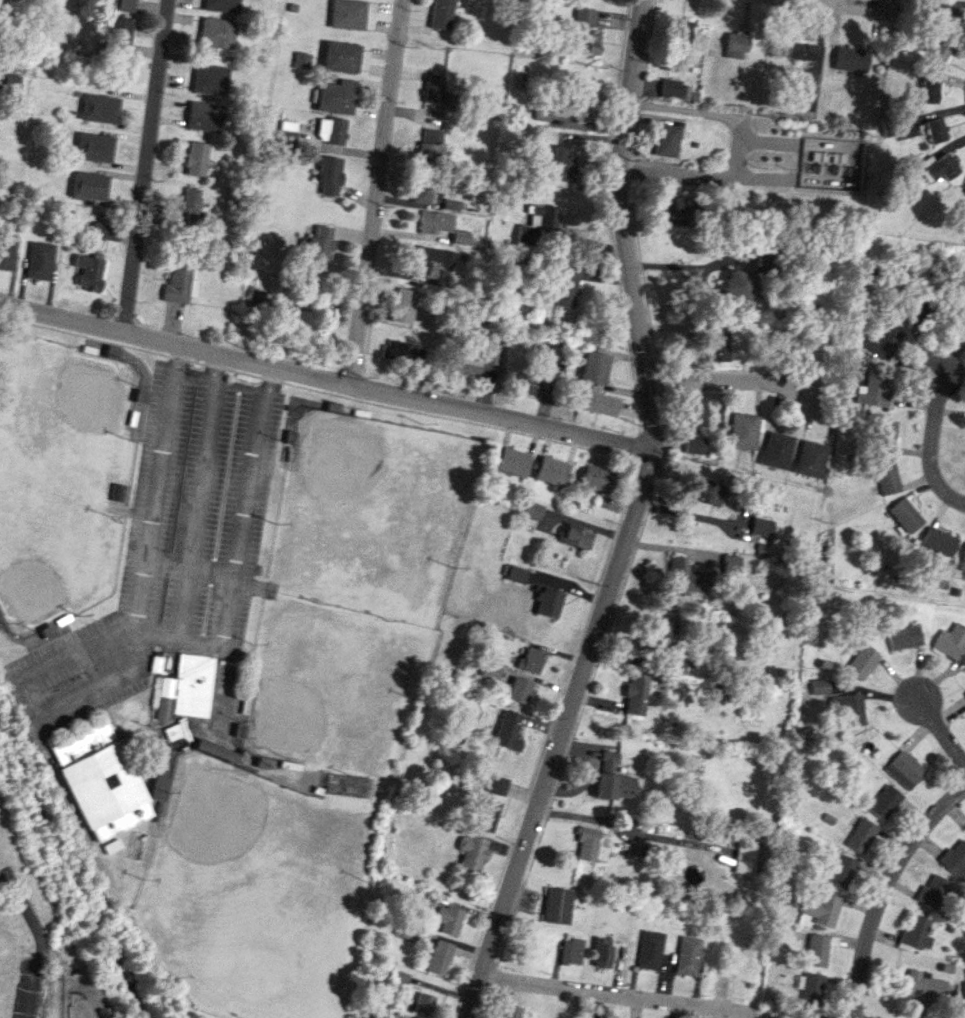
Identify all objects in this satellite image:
building: (1, 5)
building: (127, 5)
building: (219, 5)
road: (846, 5)
building: (345, 14)
building: (439, 14)
building: (950, 14)
building: (681, 28)
building: (586, 31)
building: (120, 33)
building: (213, 34)
building: (805, 50)
building: (936, 54)
building: (339, 56)
building: (851, 58)
building: (300, 60)
building: (208, 79)
building: (675, 88)
building: (434, 90)
building: (930, 91)
building: (335, 96)
building: (806, 102)
building: (98, 108)
building: (582, 108)
building: (203, 116)
building: (331, 130)
building: (935, 130)
building: (286, 132)
building: (431, 135)
building: (667, 140)
building: (93, 147)
road: (737, 148)
building: (429, 154)
building: (195, 158)
road: (144, 167)
building: (940, 167)
building: (561, 168)
building: (328, 174)
building: (88, 185)
road: (625, 189)
road: (375, 192)
building: (419, 192)
building: (964, 192)
building: (449, 204)
building: (189, 205)
building: (680, 206)
building: (433, 221)
building: (535, 224)
building: (104, 230)
building: (459, 236)
building: (317, 245)
building: (6, 250)
building: (429, 257)
building: (38, 260)
building: (87, 271)
building: (179, 282)
building: (736, 284)
building: (563, 288)
building: (403, 305)
building: (914, 313)
building: (962, 318)
building: (883, 341)
building: (716, 346)
building: (403, 351)
building: (492, 351)
road: (175, 360)
building: (466, 366)
road: (213, 367)
building: (593, 367)
road: (192, 377)
road: (268, 378)
road: (732, 378)
road: (325, 379)
road: (238, 384)
building: (525, 384)
building: (872, 388)
building: (596, 403)
building: (695, 410)
road: (934, 415)
building: (741, 431)
building: (884, 432)
building: (693, 444)
building: (775, 450)
building: (809, 458)
building: (511, 461)
building: (550, 470)
building: (886, 476)
building: (595, 478)
road: (940, 484)
building: (115, 491)
building: (705, 491)
road: (151, 502)
road: (194, 508)
building: (532, 510)
building: (904, 515)
building: (551, 522)
building: (760, 526)
building: (575, 536)
road: (238, 537)
building: (937, 543)
building: (963, 553)
building: (732, 562)
road: (187, 567)
building: (516, 573)
building: (683, 576)
building: (548, 602)
building: (663, 633)
road: (153, 634)
building: (904, 637)
building: (951, 642)
building: (530, 660)
building: (862, 661)
building: (489, 670)
building: (819, 686)
building: (184, 688)
building: (518, 689)
building: (964, 694)
building: (634, 695)
road: (571, 699)
building: (850, 709)
road: (943, 728)
building: (506, 730)
building: (608, 758)
building: (903, 769)
building: (94, 773)
building: (159, 776)
building: (495, 784)
building: (613, 785)
building: (883, 802)
building: (487, 815)
building: (118, 821)
building: (859, 835)
building: (587, 844)
building: (637, 848)
building: (471, 852)
building: (743, 858)
building: (953, 859)
building: (839, 871)
building: (930, 891)
road: (884, 892)
building: (555, 905)
building: (821, 908)
building: (448, 919)
building: (406, 932)
building: (915, 932)
road: (40, 941)
building: (649, 949)
building: (817, 949)
building: (571, 951)
building: (601, 952)
building: (687, 955)
building: (438, 957)
building: (964, 970)
road: (61, 977)
building: (918, 984)
building: (809, 986)
building: (963, 988)
road: (612, 991)
building: (422, 1003)
building: (510, 1011)
building: (372, 1015)
building: (804, 1015)

